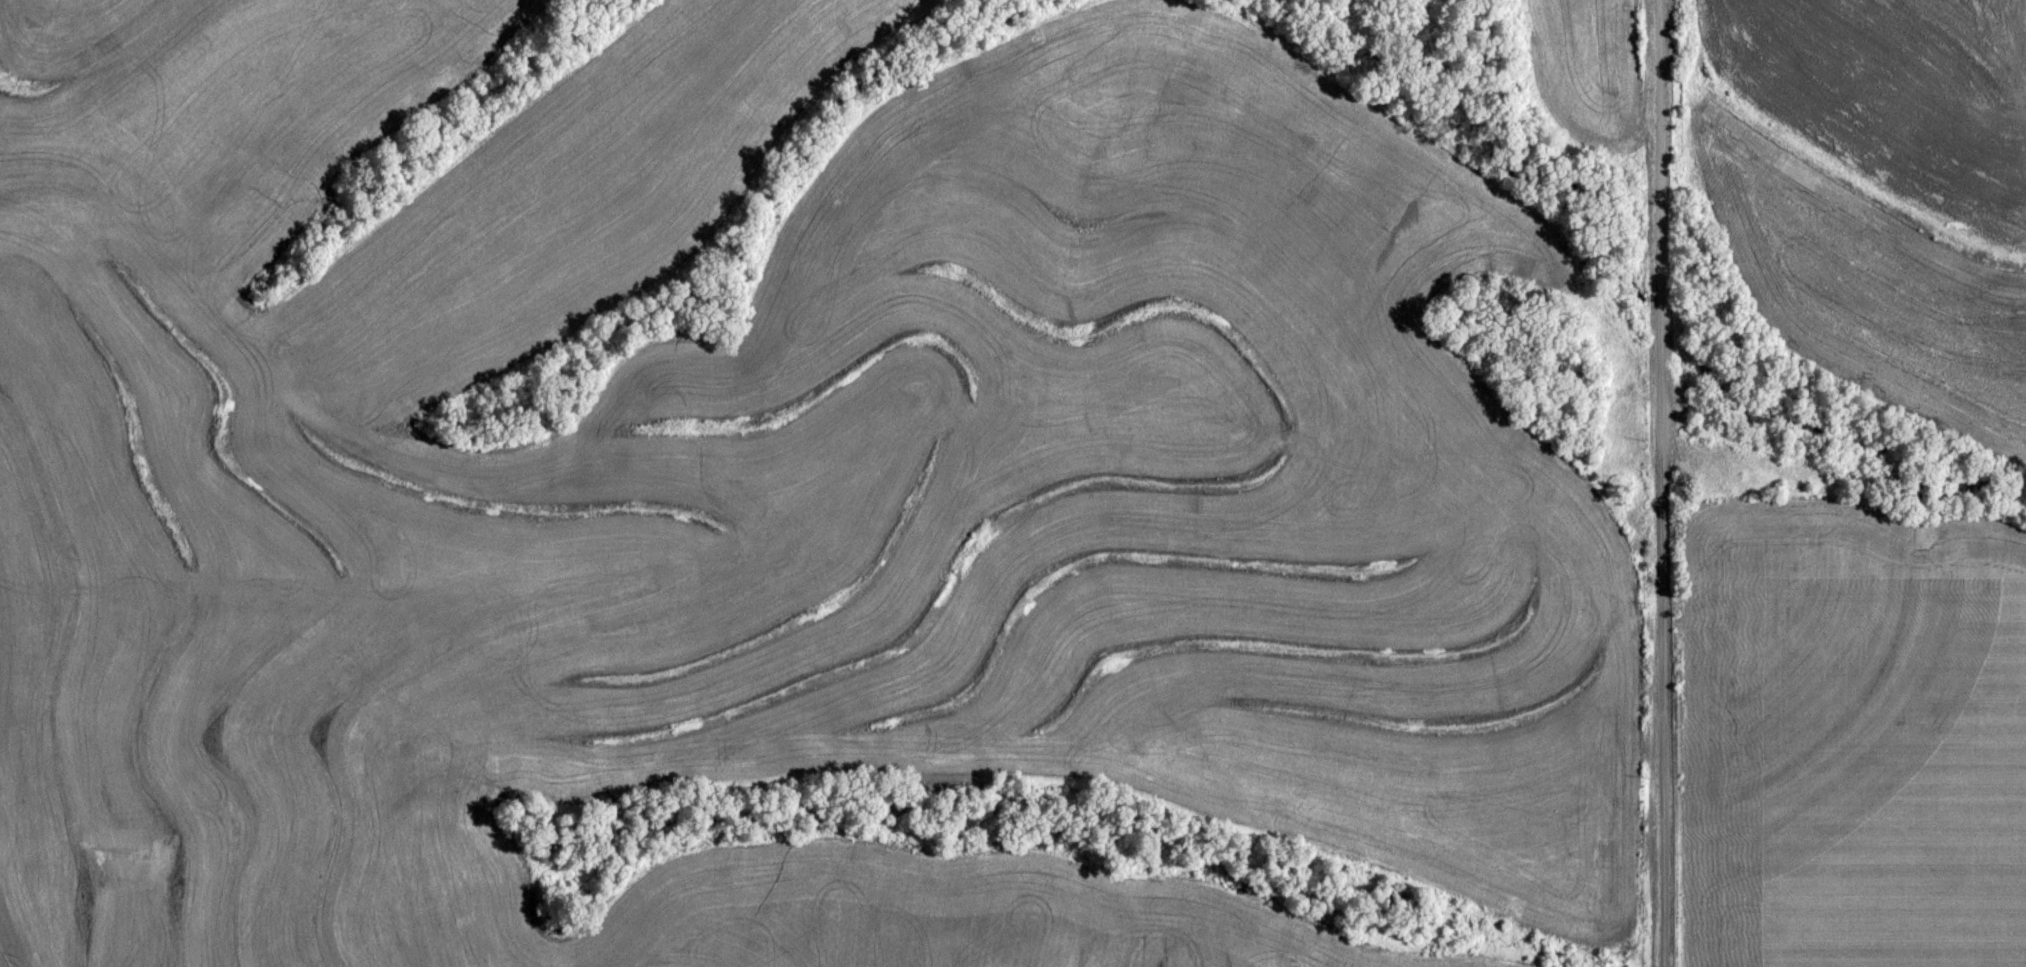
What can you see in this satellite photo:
road: (1660, 483)

